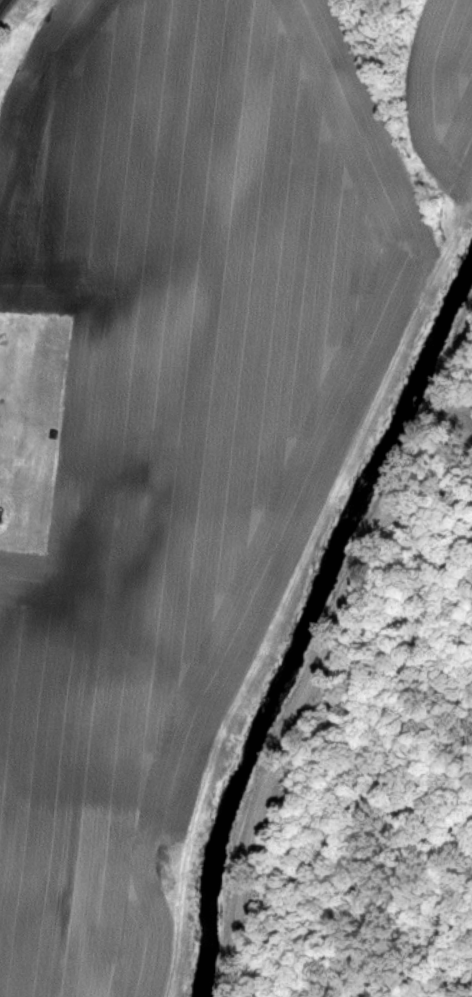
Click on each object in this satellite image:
road: (1, 1)
river: (305, 618)

